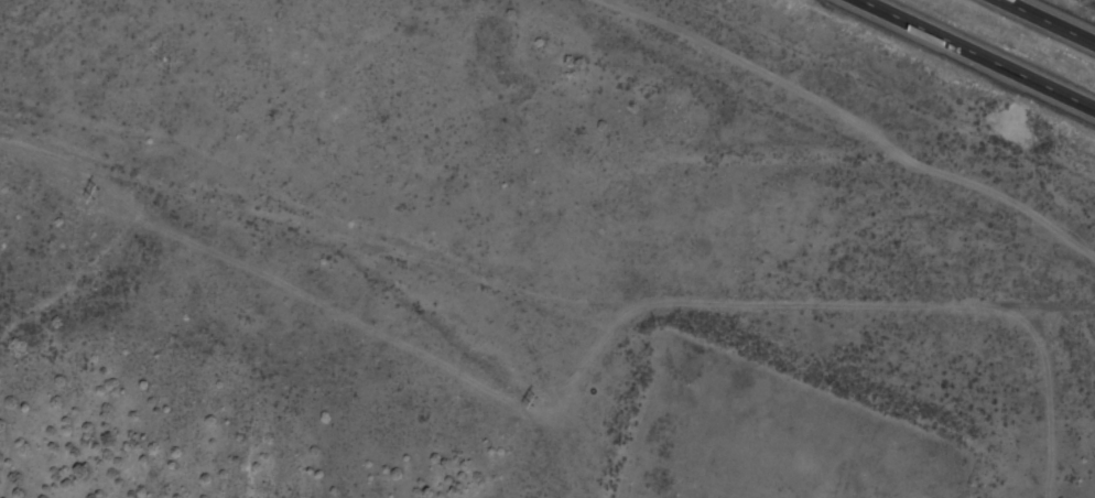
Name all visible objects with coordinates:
road: (1048, 21)
road: (974, 55)
road: (337, 279)

